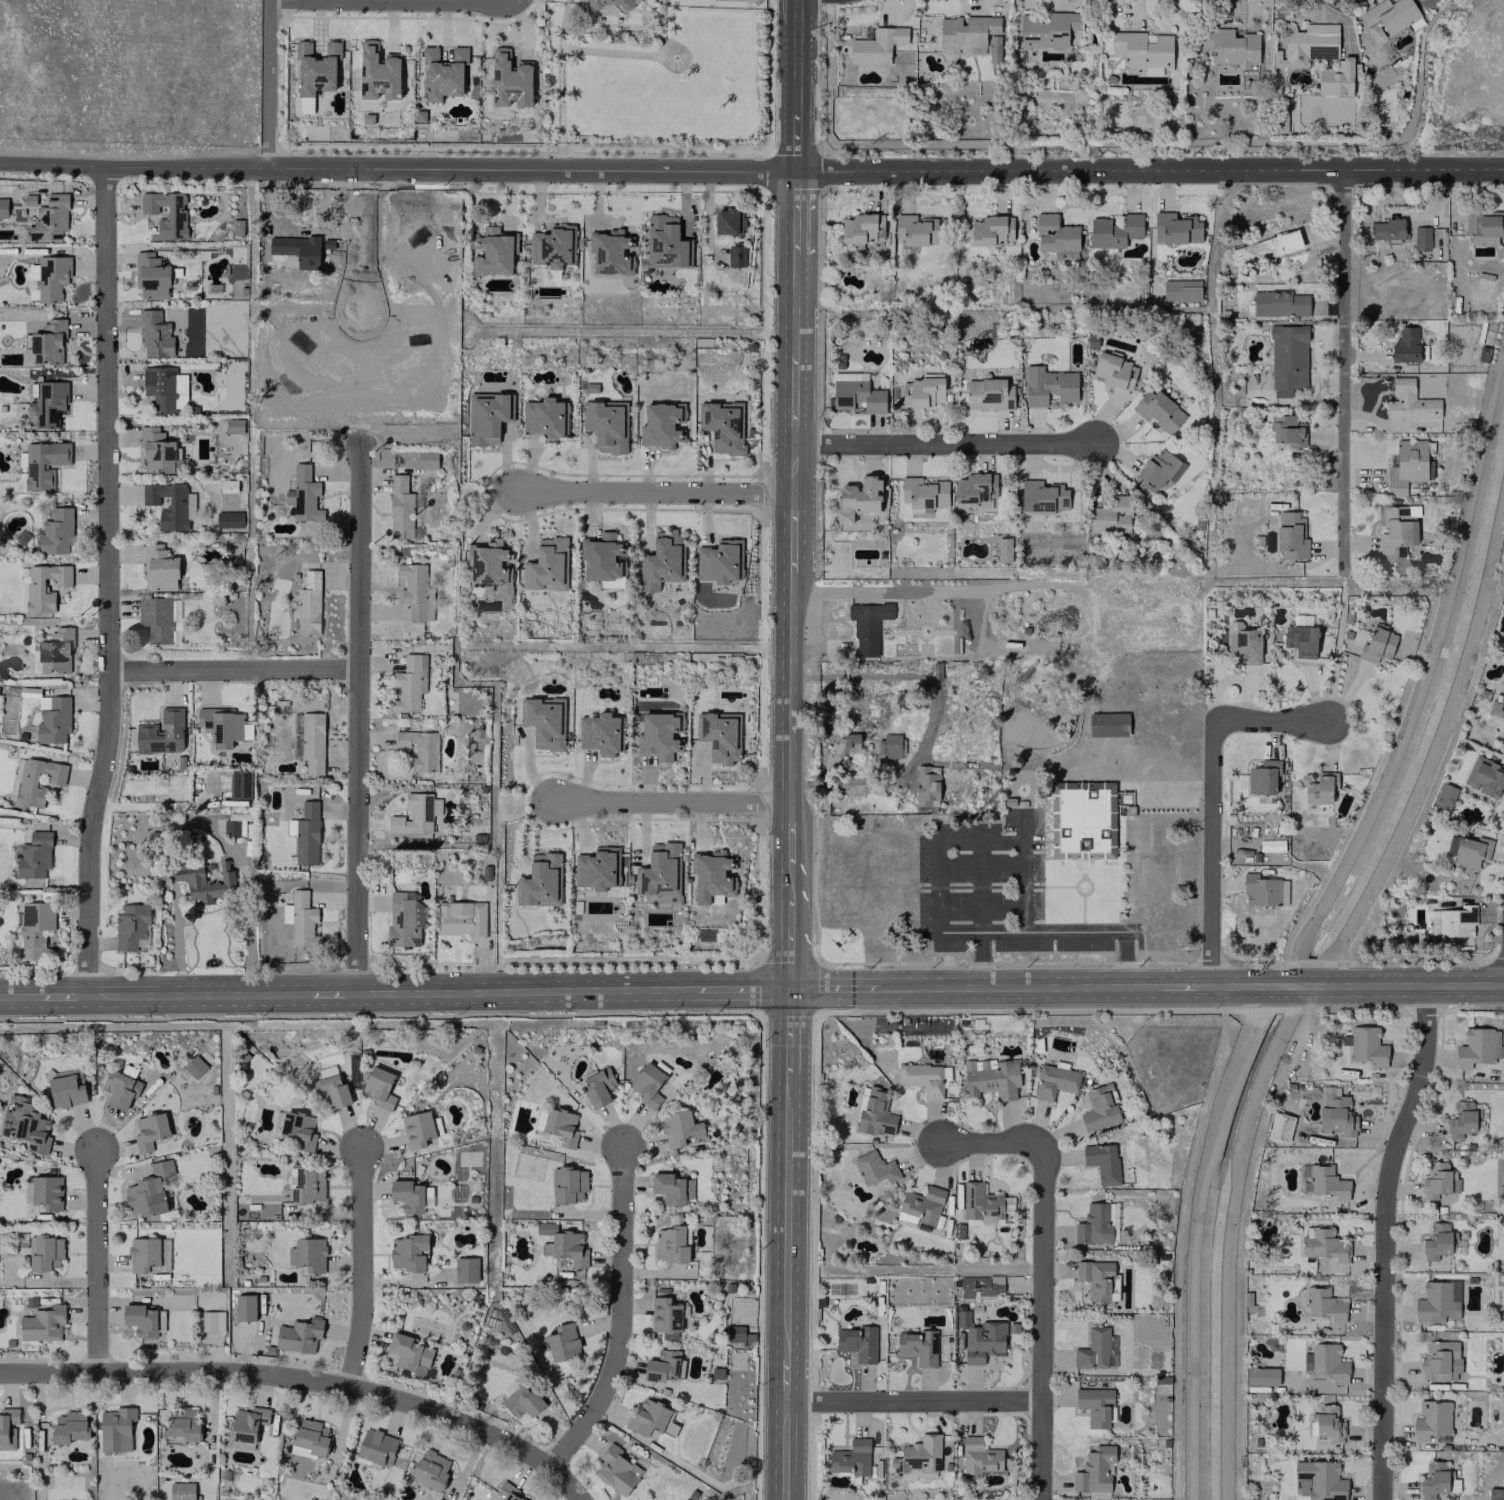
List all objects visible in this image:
road: (268, 0)
road: (310, 0)
building: (611, 3)
building: (1387, 17)
building: (1049, 30)
building: (971, 33)
road: (795, 43)
building: (1306, 44)
building: (877, 45)
building: (1229, 46)
building: (1143, 50)
building: (316, 68)
building: (378, 72)
building: (442, 73)
building: (1335, 78)
building: (510, 79)
road: (269, 84)
building: (306, 104)
building: (367, 119)
road: (794, 129)
road: (396, 169)
road: (1149, 169)
building: (3, 208)
building: (166, 213)
building: (49, 219)
building: (729, 221)
building: (1484, 225)
building: (862, 228)
building: (1175, 228)
building: (1387, 228)
building: (917, 230)
building: (992, 230)
building: (1114, 230)
building: (1055, 234)
building: (1421, 237)
road: (359, 241)
building: (664, 242)
building: (553, 246)
building: (297, 249)
building: (494, 252)
building: (609, 252)
building: (736, 256)
building: (150, 275)
building: (47, 277)
building: (1181, 290)
building: (1279, 303)
road: (630, 328)
building: (154, 333)
building: (47, 342)
building: (1405, 343)
building: (1287, 359)
road: (1342, 364)
building: (234, 365)
building: (1115, 371)
building: (1048, 385)
building: (165, 389)
building: (921, 392)
building: (988, 393)
building: (857, 395)
building: (1409, 401)
building: (47, 402)
building: (1157, 410)
building: (486, 416)
building: (543, 417)
building: (606, 424)
building: (661, 424)
building: (234, 425)
building: (721, 426)
building: (1288, 430)
road: (404, 437)
road: (945, 443)
building: (159, 451)
building: (426, 459)
building: (1429, 462)
building: (44, 463)
building: (1407, 465)
building: (1157, 471)
building: (228, 485)
building: (974, 488)
road: (655, 491)
building: (302, 494)
building: (923, 494)
building: (1042, 495)
building: (859, 497)
building: (170, 504)
building: (402, 508)
building: (1111, 515)
road: (790, 518)
building: (229, 519)
building: (56, 531)
building: (1394, 532)
building: (1291, 535)
building: (1004, 549)
building: (601, 557)
building: (662, 561)
building: (721, 561)
building: (547, 565)
building: (490, 566)
building: (159, 567)
road: (109, 579)
building: (34, 588)
building: (415, 591)
building: (308, 603)
building: (159, 619)
building: (868, 623)
building: (1301, 640)
building: (1243, 642)
building: (1377, 645)
building: (56, 650)
building: (35, 657)
road: (233, 668)
building: (409, 683)
building: (1497, 705)
road: (355, 715)
building: (53, 718)
road: (931, 719)
building: (543, 723)
building: (1108, 724)
building: (161, 732)
building: (599, 733)
building: (658, 736)
building: (718, 736)
building: (851, 740)
building: (312, 742)
building: (888, 745)
building: (420, 748)
building: (1485, 776)
building: (55, 778)
building: (1263, 778)
building: (927, 785)
building: (1320, 788)
road: (1210, 796)
building: (1444, 796)
building: (1123, 798)
building: (1007, 801)
road: (671, 802)
road: (1033, 802)
road: (160, 805)
building: (1082, 820)
road: (1021, 827)
building: (305, 833)
road: (939, 842)
building: (1468, 850)
building: (34, 855)
building: (597, 868)
road: (1083, 868)
building: (659, 869)
building: (710, 874)
building: (540, 881)
building: (223, 882)
road: (1090, 883)
road: (979, 886)
road: (980, 886)
road: (1058, 886)
parking lot: (992, 889)
building: (1264, 890)
road: (1082, 912)
building: (286, 913)
building: (405, 917)
building: (463, 918)
building: (303, 920)
building: (1452, 921)
road: (787, 926)
building: (132, 927)
building: (35, 928)
road: (1073, 931)
road: (980, 958)
road: (1124, 958)
road: (1356, 984)
road: (519, 985)
road: (736, 985)
road: (1179, 985)
road: (838, 986)
road: (1020, 986)
road: (52, 992)
road: (195, 992)
road: (326, 992)
road: (7, 993)
road: (787, 1036)
building: (1366, 1046)
building: (1478, 1046)
building: (195, 1066)
building: (991, 1077)
building: (925, 1078)
building: (1054, 1081)
park: (538, 1084)
building: (647, 1085)
building: (378, 1086)
building: (598, 1086)
building: (119, 1089)
building: (334, 1090)
building: (65, 1091)
building: (1100, 1107)
building: (1336, 1113)
building: (876, 1114)
building: (1461, 1119)
building: (24, 1123)
building: (560, 1125)
building: (417, 1127)
building: (298, 1128)
building: (678, 1128)
building: (150, 1130)
road: (992, 1142)
building: (1102, 1161)
park: (530, 1166)
building: (418, 1168)
building: (874, 1168)
building: (1435, 1180)
building: (1323, 1181)
building: (569, 1184)
building: (307, 1185)
building: (668, 1188)
building: (47, 1191)
building: (148, 1191)
building: (407, 1194)
building: (981, 1202)
building: (921, 1206)
building: (1097, 1223)
road: (1385, 1238)
building: (1436, 1241)
road: (786, 1243)
building: (1322, 1243)
building: (565, 1244)
building: (672, 1244)
building: (408, 1251)
building: (45, 1252)
building: (307, 1253)
building: (148, 1254)
road: (94, 1258)
road: (359, 1265)
building: (466, 1269)
building: (1095, 1278)
building: (981, 1285)
park: (841, 1287)
building: (729, 1288)
building: (1437, 1301)
building: (1324, 1304)
road: (633, 1305)
road: (711, 1305)
building: (244, 1307)
building: (683, 1312)
road: (648, 1313)
building: (664, 1314)
road: (682, 1316)
road: (688, 1318)
building: (140, 1319)
road: (693, 1319)
building: (212, 1320)
road: (1044, 1321)
building: (43, 1323)
building: (739, 1334)
building: (299, 1335)
building: (669, 1335)
road: (725, 1336)
road: (616, 1338)
building: (563, 1343)
building: (857, 1343)
building: (918, 1346)
building: (1096, 1349)
building: (407, 1351)
park: (737, 1360)
building: (1440, 1361)
building: (1326, 1363)
building: (664, 1367)
road: (283, 1375)
building: (1261, 1376)
road: (914, 1399)
building: (523, 1401)
building: (1095, 1405)
building: (646, 1416)
building: (1432, 1420)
building: (247, 1422)
building: (182, 1423)
building: (1311, 1423)
building: (1328, 1423)
building: (7, 1426)
building: (70, 1428)
building: (116, 1428)
building: (310, 1436)
building: (374, 1445)
road: (784, 1450)
building: (918, 1454)
building: (979, 1456)
building: (851, 1457)
building: (430, 1469)
building: (615, 1470)
building: (1095, 1470)
building: (1433, 1479)
building: (181, 1491)
building: (506, 1491)

